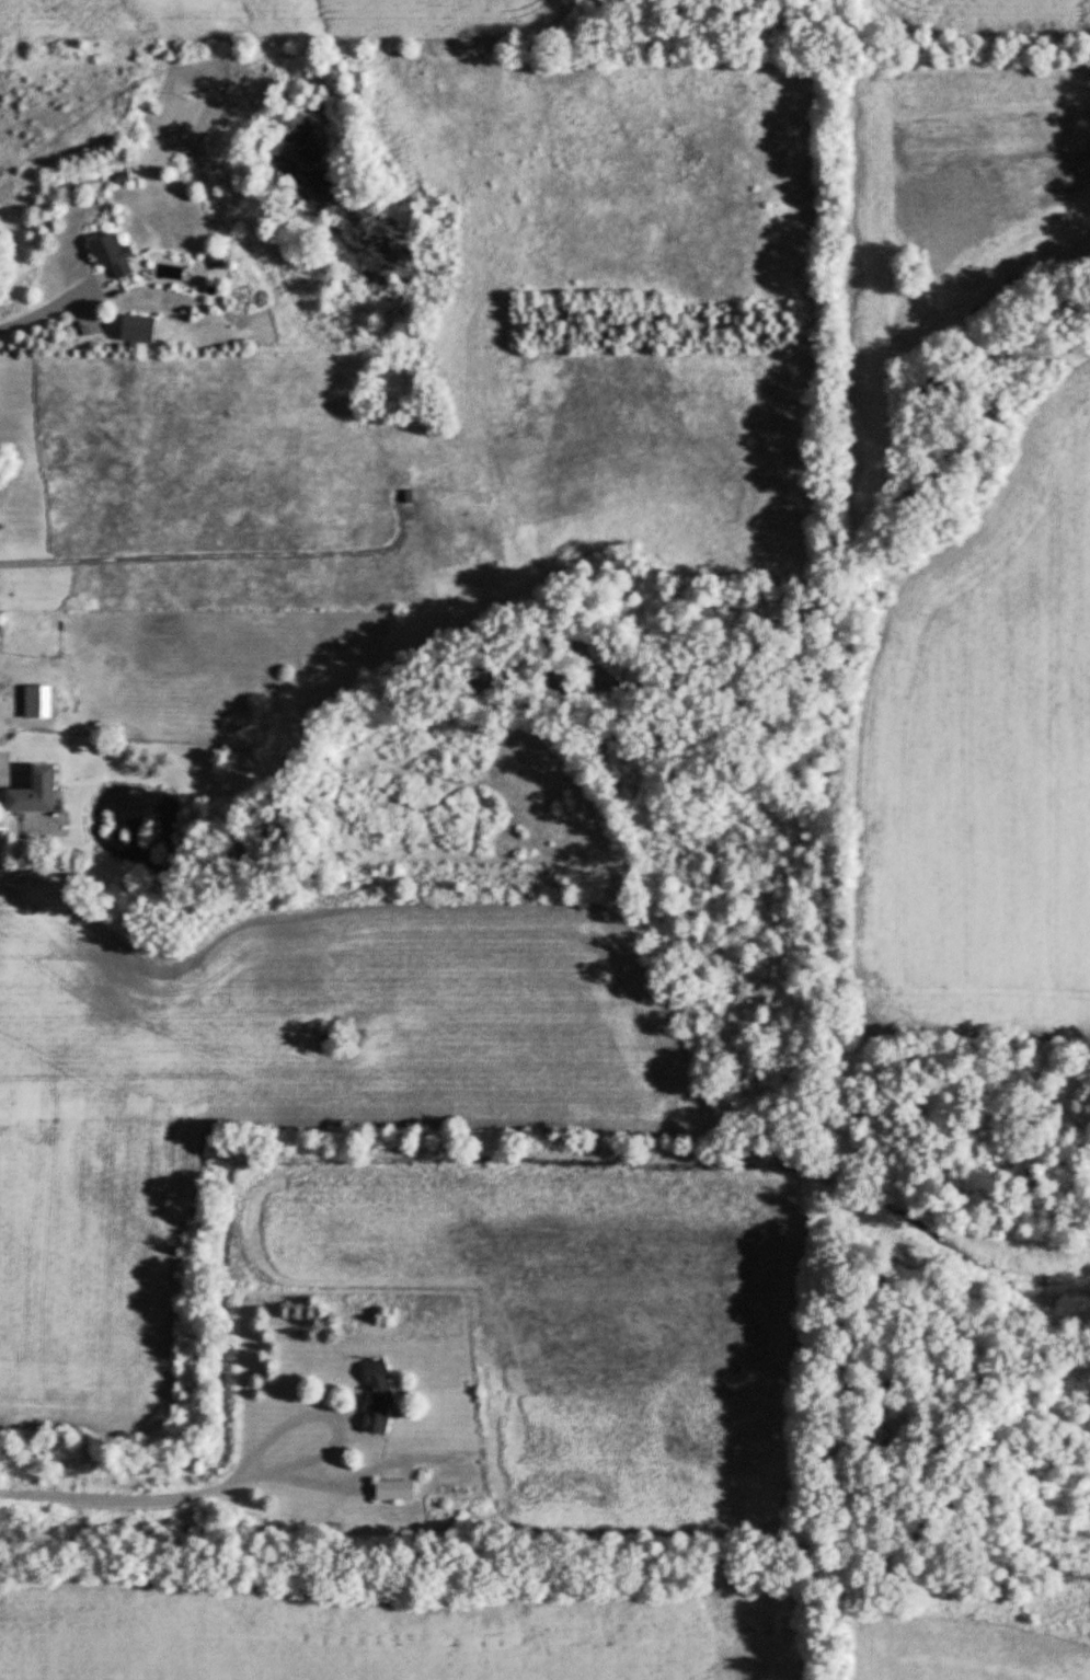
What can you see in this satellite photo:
building: (117, 255)
road: (49, 306)
road: (220, 550)
building: (39, 701)
road: (3, 775)
building: (43, 791)
building: (380, 1395)
building: (398, 1488)
road: (165, 1496)

